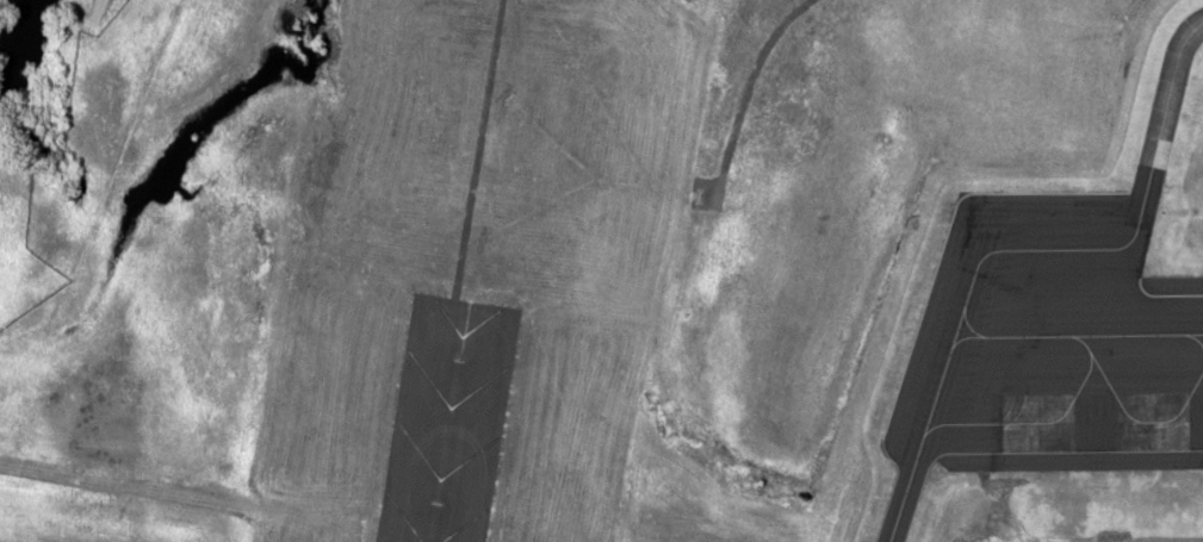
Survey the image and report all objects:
river: (10, 32)
airport: (610, 274)

